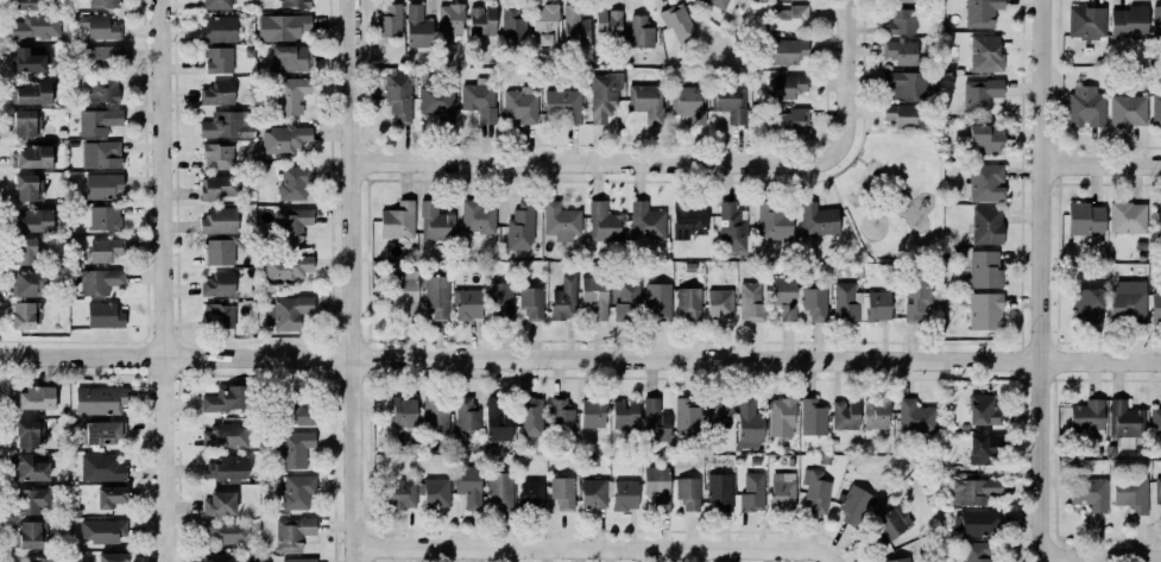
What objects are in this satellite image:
building: (900, 0)
building: (101, 2)
building: (714, 2)
building: (23, 4)
building: (216, 4)
building: (295, 4)
building: (978, 12)
building: (785, 17)
building: (898, 19)
building: (482, 20)
building: (677, 21)
building: (1086, 21)
building: (1156, 21)
building: (607, 23)
building: (1128, 23)
building: (391, 24)
building: (515, 24)
building: (545, 24)
building: (417, 25)
building: (36, 26)
building: (97, 26)
building: (283, 26)
building: (216, 27)
building: (448, 27)
building: (575, 27)
building: (641, 30)
building: (784, 49)
building: (898, 51)
building: (983, 52)
building: (96, 56)
building: (288, 57)
building: (24, 59)
building: (215, 59)
road: (843, 77)
building: (906, 83)
building: (788, 88)
building: (103, 89)
building: (29, 91)
building: (217, 93)
building: (398, 94)
building: (978, 94)
building: (290, 95)
building: (604, 95)
building: (477, 100)
building: (437, 101)
building: (644, 101)
building: (726, 101)
building: (563, 102)
building: (689, 102)
building: (1083, 107)
building: (1156, 108)
building: (520, 109)
building: (1128, 110)
building: (900, 115)
building: (791, 120)
building: (99, 121)
building: (27, 125)
building: (222, 130)
road: (859, 135)
building: (285, 139)
building: (985, 139)
building: (101, 154)
building: (32, 156)
building: (217, 157)
road: (862, 159)
road: (867, 160)
road: (873, 160)
road: (597, 162)
road: (865, 165)
road: (1102, 165)
road: (877, 166)
road: (866, 169)
road: (834, 171)
road: (871, 171)
road: (875, 171)
road: (884, 176)
road: (860, 181)
building: (982, 182)
building: (298, 183)
building: (102, 185)
building: (219, 187)
road: (906, 190)
building: (29, 192)
road: (883, 194)
park: (891, 194)
road: (854, 200)
road: (860, 203)
road: (867, 206)
building: (478, 216)
building: (105, 217)
building: (689, 217)
building: (1083, 217)
building: (1128, 217)
building: (219, 220)
building: (398, 220)
building: (561, 220)
building: (819, 220)
building: (1157, 220)
building: (605, 221)
building: (646, 221)
building: (436, 222)
building: (774, 222)
building: (291, 225)
building: (988, 225)
building: (522, 226)
building: (37, 227)
building: (732, 227)
building: (106, 250)
building: (27, 251)
building: (219, 251)
building: (286, 266)
building: (982, 269)
building: (94, 279)
road: (170, 280)
road: (360, 280)
road: (1045, 280)
building: (29, 283)
building: (219, 284)
building: (403, 288)
building: (435, 295)
building: (595, 296)
building: (784, 296)
building: (917, 296)
building: (500, 299)
building: (564, 299)
building: (658, 301)
building: (689, 301)
building: (627, 302)
building: (751, 302)
building: (843, 302)
building: (532, 303)
building: (720, 303)
building: (815, 304)
building: (872, 304)
building: (1084, 304)
building: (469, 305)
building: (1127, 305)
building: (1155, 305)
building: (983, 310)
building: (288, 311)
building: (25, 314)
building: (105, 315)
building: (219, 315)
road: (580, 354)
building: (226, 398)
building: (100, 399)
building: (38, 402)
building: (297, 411)
building: (404, 411)
building: (593, 412)
building: (876, 412)
building: (985, 412)
building: (467, 413)
building: (719, 413)
building: (845, 413)
building: (436, 415)
building: (561, 415)
building: (687, 415)
building: (531, 416)
building: (809, 416)
building: (916, 416)
building: (1124, 416)
building: (626, 417)
building: (782, 417)
building: (1086, 417)
building: (1155, 419)
building: (656, 422)
building: (499, 423)
building: (749, 424)
building: (99, 431)
building: (34, 434)
building: (223, 435)
building: (980, 447)
building: (294, 448)
building: (31, 467)
building: (101, 467)
building: (231, 471)
building: (466, 484)
building: (498, 488)
building: (1156, 488)
building: (562, 490)
building: (658, 490)
building: (719, 490)
building: (816, 490)
building: (297, 491)
building: (783, 491)
building: (973, 491)
building: (436, 492)
building: (530, 492)
building: (592, 492)
building: (750, 492)
building: (400, 493)
building: (688, 493)
building: (1090, 493)
building: (1131, 493)
building: (625, 494)
building: (111, 495)
building: (32, 500)
building: (221, 503)
building: (852, 506)
building: (974, 522)
building: (891, 525)
building: (100, 529)
building: (226, 530)
building: (31, 532)
building: (294, 535)
road: (605, 545)
building: (977, 551)
road: (1103, 556)
building: (112, 557)
building: (42, 558)
building: (219, 558)
building: (896, 560)
building: (299, 561)

